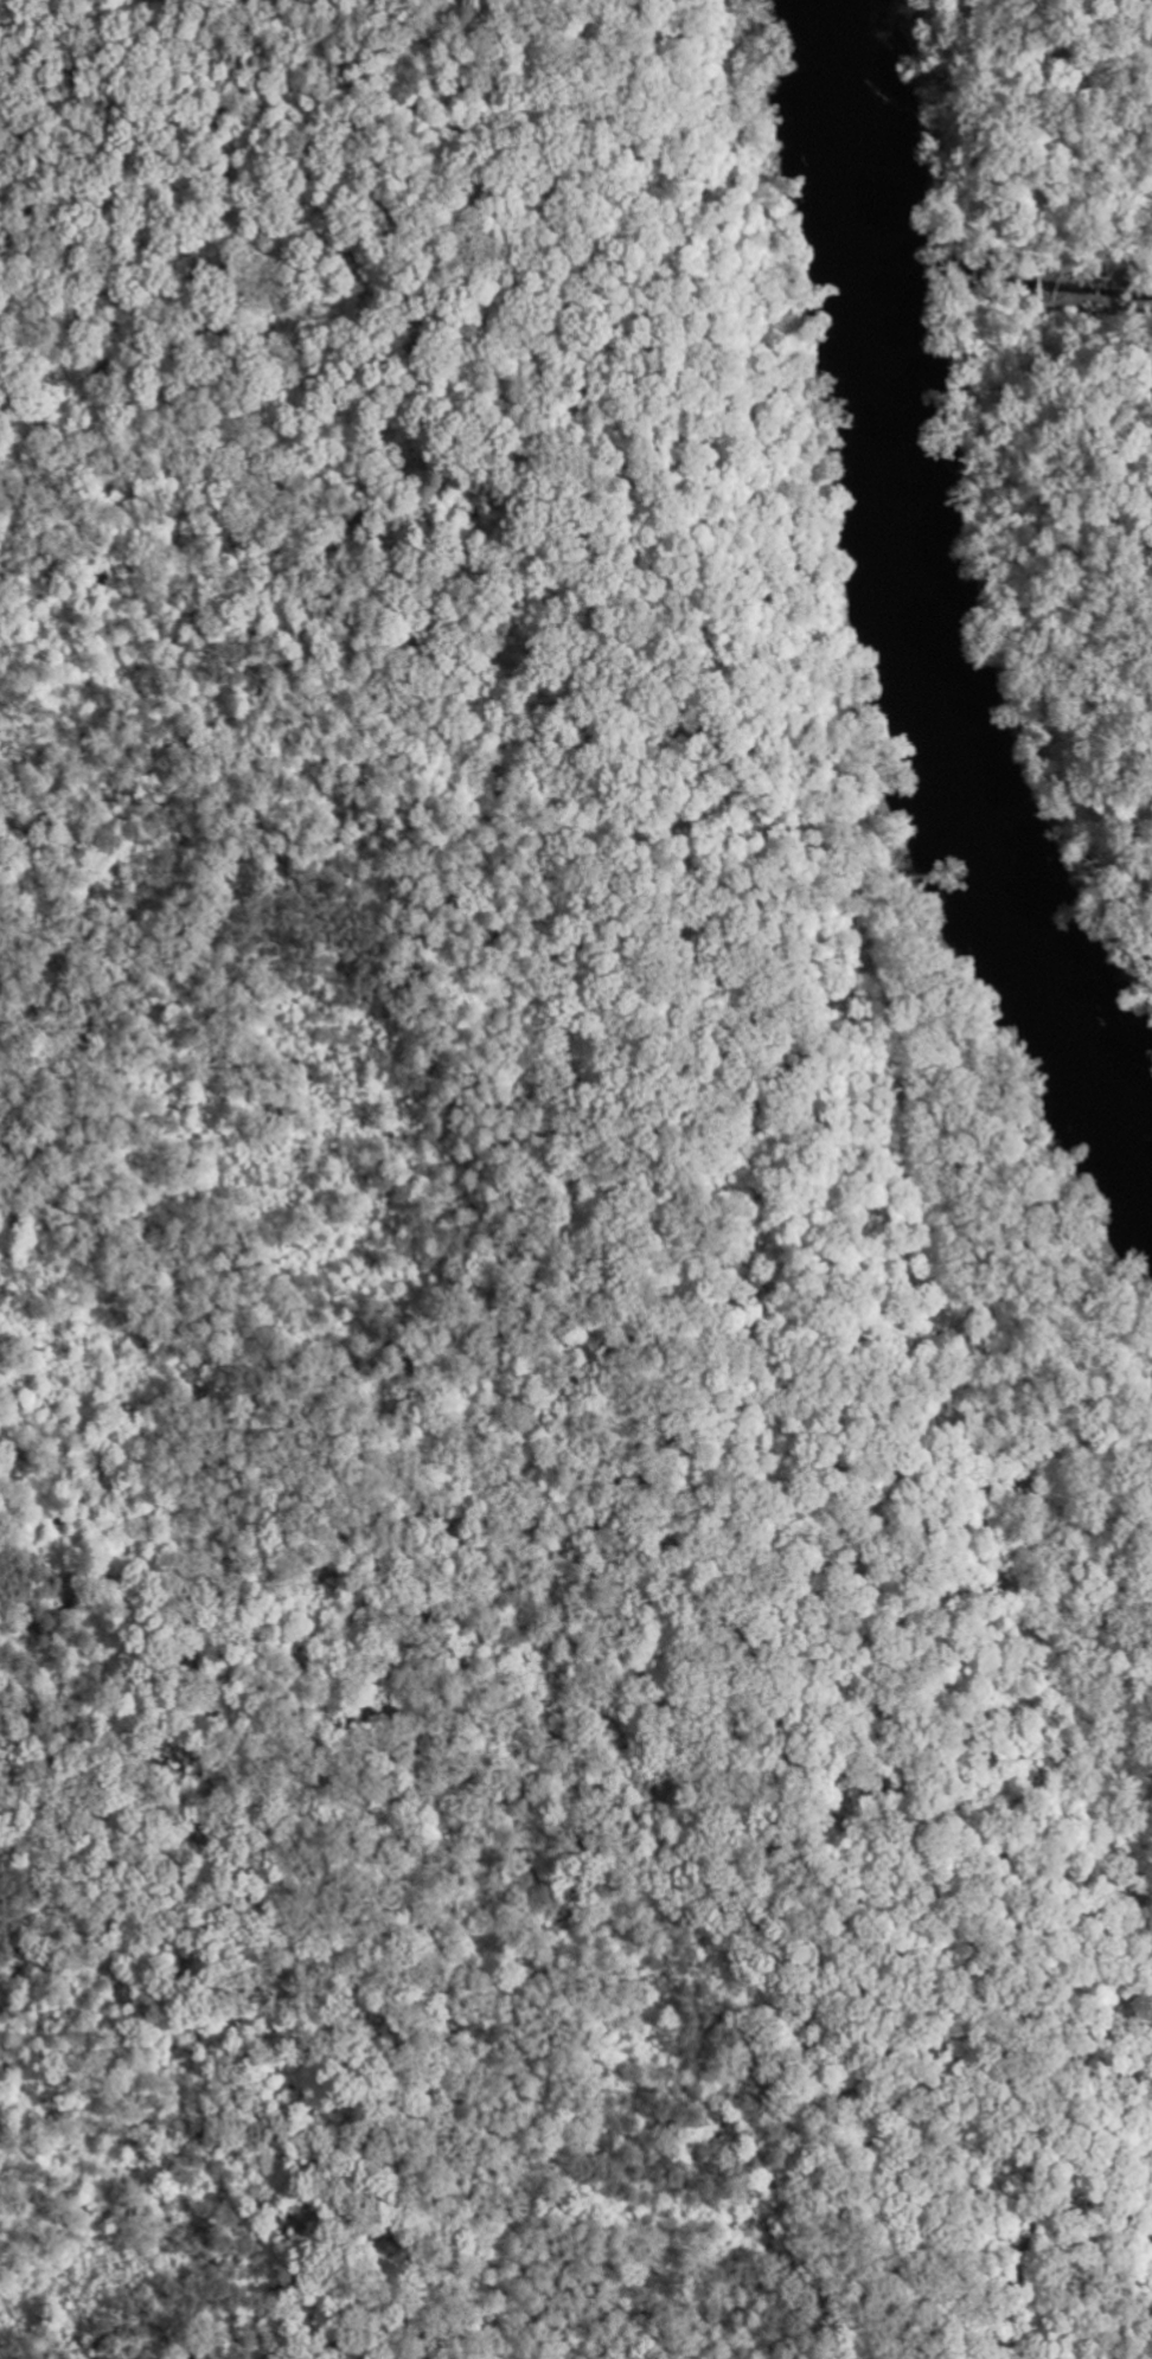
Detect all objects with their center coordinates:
river: (908, 604)

